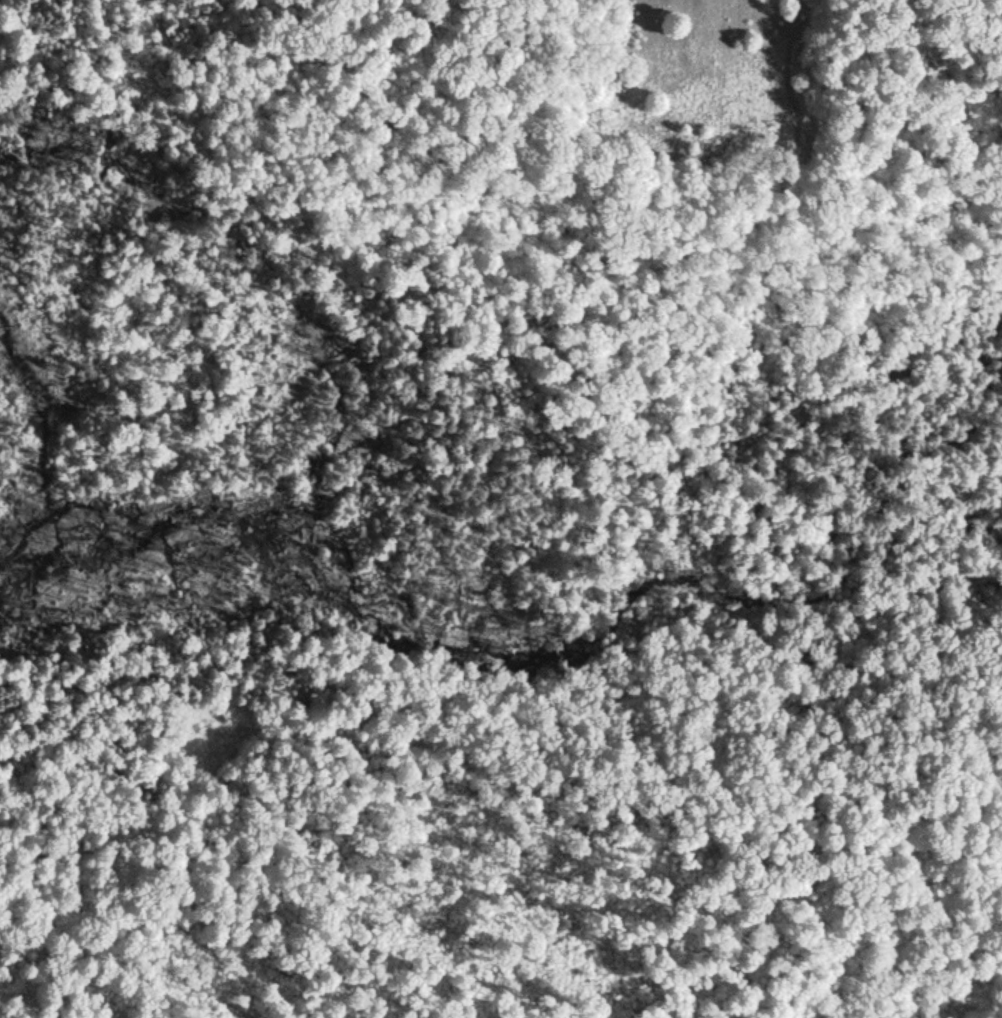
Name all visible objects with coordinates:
road: (546, 9)
road: (796, 184)
river: (543, 632)

